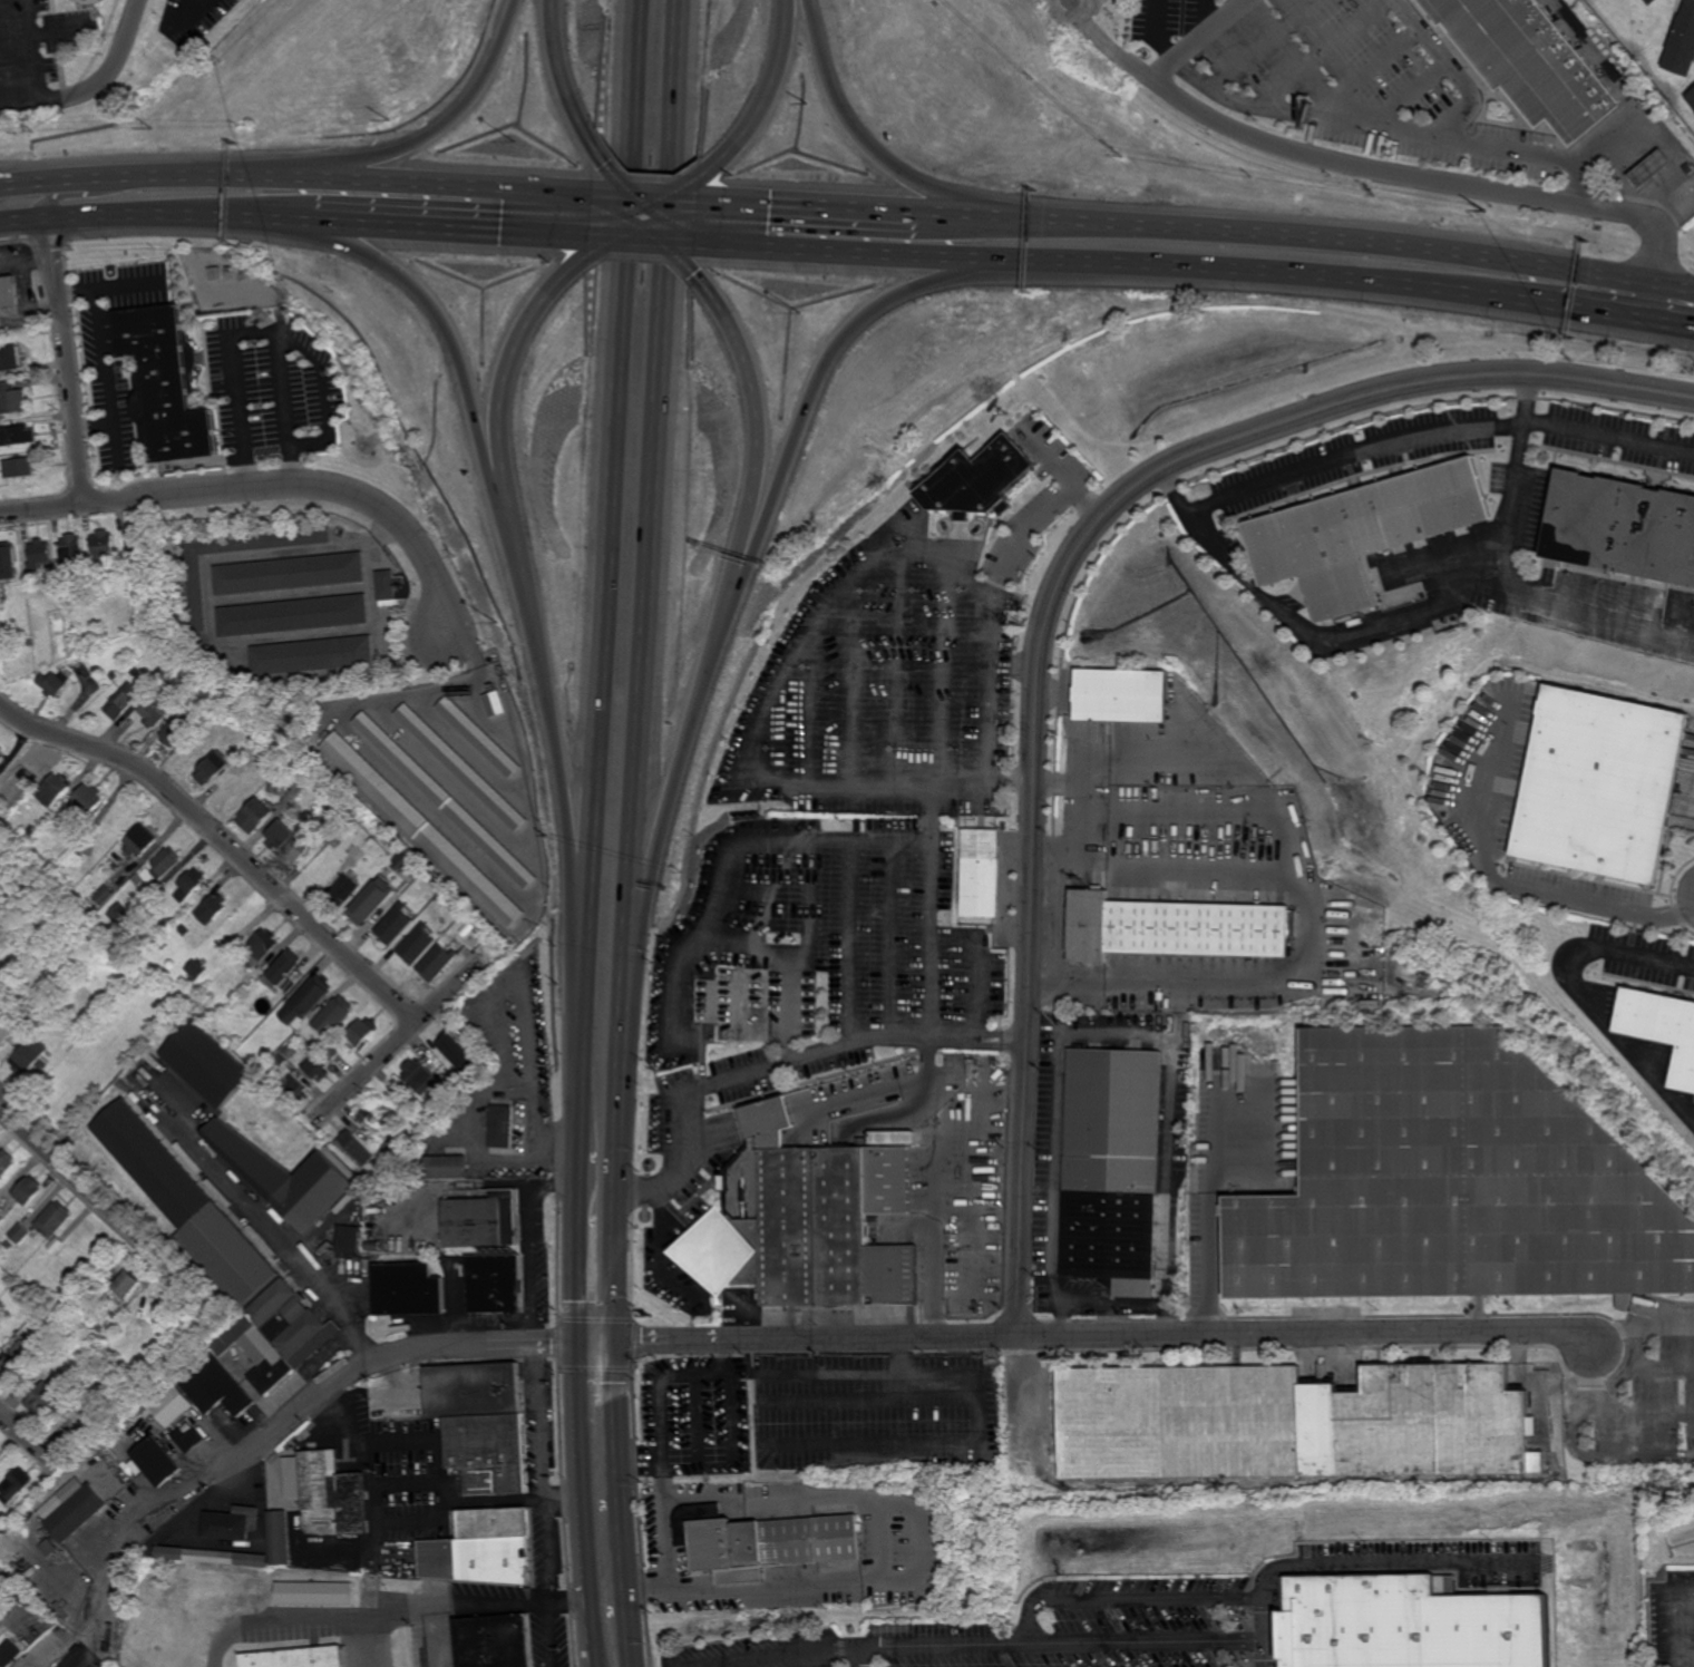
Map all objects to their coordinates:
road: (2, 0)
building: (1651, 1)
road: (1206, 19)
parking lot: (51, 26)
road: (1157, 35)
building: (1682, 42)
road: (38, 49)
road: (1121, 57)
road: (118, 61)
building: (1530, 61)
road: (1452, 68)
road: (567, 78)
road: (55, 97)
building: (1692, 98)
road: (21, 99)
road: (769, 100)
road: (1630, 101)
road: (451, 123)
road: (1374, 126)
road: (858, 128)
street lamp: (516, 143)
traffic signals: (609, 164)
road: (1365, 168)
building: (1651, 168)
road: (186, 176)
road: (444, 182)
road: (26, 187)
road: (582, 193)
road: (648, 196)
road: (582, 197)
road: (641, 199)
road: (717, 201)
road: (50, 202)
traffic signals: (733, 202)
road: (650, 205)
road: (717, 206)
road: (826, 208)
road: (157, 214)
road: (941, 216)
road: (439, 227)
road: (580, 231)
road: (644, 231)
road: (650, 231)
traffic signals: (565, 236)
road: (580, 236)
road: (715, 237)
road: (646, 240)
road: (1330, 240)
road: (715, 244)
road: (866, 252)
building: (215, 273)
traffic signals: (700, 273)
road: (1347, 279)
building: (9, 291)
street lamp: (802, 311)
road: (278, 330)
road: (455, 334)
building: (10, 358)
road: (65, 361)
road: (512, 370)
building: (0, 376)
building: (168, 384)
road: (285, 389)
road: (818, 392)
building: (12, 398)
road: (761, 432)
road: (1435, 432)
building: (18, 435)
building: (19, 468)
building: (975, 480)
road: (282, 485)
road: (1174, 493)
road: (609, 498)
building: (157, 514)
road: (1044, 514)
building: (1622, 529)
building: (1363, 533)
building: (136, 539)
building: (104, 546)
building: (74, 547)
building: (40, 554)
building: (8, 563)
road: (522, 572)
building: (288, 573)
building: (61, 575)
road: (1499, 578)
building: (386, 584)
building: (194, 591)
road: (1050, 606)
building: (0, 607)
building: (291, 615)
building: (1344, 617)
building: (911, 620)
road: (208, 622)
building: (29, 640)
building: (311, 654)
building: (120, 670)
building: (135, 670)
road: (650, 671)
building: (114, 675)
building: (159, 675)
building: (55, 682)
building: (359, 690)
road: (1060, 693)
building: (1120, 693)
building: (123, 701)
building: (496, 703)
building: (157, 709)
building: (179, 730)
road: (1078, 731)
building: (480, 735)
building: (1, 747)
road: (992, 750)
building: (1, 757)
road: (1227, 761)
building: (461, 767)
building: (214, 768)
road: (1014, 779)
building: (1600, 783)
road: (1074, 786)
building: (272, 787)
building: (282, 787)
building: (55, 788)
building: (89, 798)
building: (446, 798)
road: (673, 801)
road: (567, 812)
building: (254, 813)
road: (1085, 821)
building: (423, 829)
building: (278, 836)
building: (142, 839)
road: (223, 839)
building: (294, 850)
road: (1049, 850)
building: (356, 855)
building: (74, 856)
building: (406, 861)
building: (160, 866)
building: (980, 873)
building: (189, 884)
road: (1505, 886)
building: (343, 890)
building: (85, 891)
building: (105, 895)
road: (814, 895)
building: (372, 900)
building: (212, 908)
building: (451, 908)
building: (123, 915)
road: (1057, 919)
building: (396, 924)
building: (1174, 928)
road: (1315, 928)
road: (700, 939)
building: (191, 940)
building: (417, 944)
building: (262, 945)
road: (752, 946)
building: (163, 948)
road: (1637, 957)
building: (437, 962)
building: (284, 966)
building: (132, 969)
building: (197, 969)
building: (37, 977)
building: (249, 979)
building: (29, 985)
road: (1043, 988)
building: (6, 990)
building: (234, 995)
building: (305, 1001)
building: (734, 1004)
building: (333, 1015)
road: (1181, 1015)
building: (1661, 1027)
building: (7, 1029)
building: (361, 1031)
road: (405, 1031)
road: (967, 1039)
road: (950, 1040)
road: (1018, 1040)
road: (1619, 1044)
building: (290, 1051)
building: (332, 1053)
building: (457, 1053)
building: (28, 1055)
building: (281, 1060)
building: (208, 1064)
building: (314, 1065)
building: (333, 1068)
building: (416, 1073)
road: (578, 1073)
building: (294, 1088)
building: (449, 1093)
building: (442, 1100)
building: (432, 1110)
building: (372, 1118)
building: (421, 1121)
building: (502, 1127)
road: (1055, 1129)
building: (892, 1138)
building: (356, 1148)
building: (403, 1148)
building: (390, 1154)
building: (338, 1160)
building: (6, 1162)
building: (446, 1168)
building: (1111, 1169)
building: (285, 1177)
building: (1452, 1182)
road: (81, 1187)
road: (1169, 1189)
building: (173, 1190)
building: (28, 1192)
road: (1209, 1211)
building: (1, 1220)
building: (806, 1220)
building: (55, 1221)
building: (481, 1221)
road: (934, 1228)
building: (21, 1235)
building: (350, 1246)
road: (576, 1246)
building: (9, 1247)
building: (57, 1247)
building: (373, 1247)
road: (530, 1247)
road: (661, 1251)
road: (304, 1254)
building: (228, 1256)
building: (127, 1283)
building: (493, 1284)
building: (163, 1289)
building: (409, 1289)
building: (121, 1307)
building: (292, 1322)
road: (737, 1324)
building: (59, 1328)
road: (1103, 1336)
traffic signals: (577, 1344)
traffic signals: (619, 1344)
building: (254, 1351)
road: (395, 1353)
building: (16, 1361)
road: (1593, 1363)
building: (216, 1386)
building: (98, 1390)
building: (43, 1398)
building: (173, 1404)
building: (483, 1422)
building: (1292, 1422)
road: (27, 1437)
building: (189, 1439)
road: (441, 1445)
road: (732, 1450)
road: (643, 1459)
building: (157, 1460)
road: (578, 1466)
road: (622, 1479)
building: (14, 1484)
building: (333, 1488)
road: (564, 1501)
road: (831, 1504)
road: (548, 1505)
building: (71, 1509)
building: (231, 1522)
road: (378, 1528)
power tower: (2, 1537)
building: (279, 1537)
building: (762, 1541)
road: (669, 1543)
building: (483, 1548)
building: (211, 1558)
road: (1393, 1561)
building: (314, 1593)
road: (1151, 1598)
road: (386, 1616)
building: (1411, 1624)
road: (1681, 1627)
road: (590, 1628)
road: (1266, 1631)
road: (434, 1637)
building: (494, 1640)
road: (634, 1640)
road: (363, 1642)
road: (1146, 1642)
road: (872, 1646)
building: (9, 1650)
road: (860, 1656)
building: (295, 1658)
road: (817, 1658)

